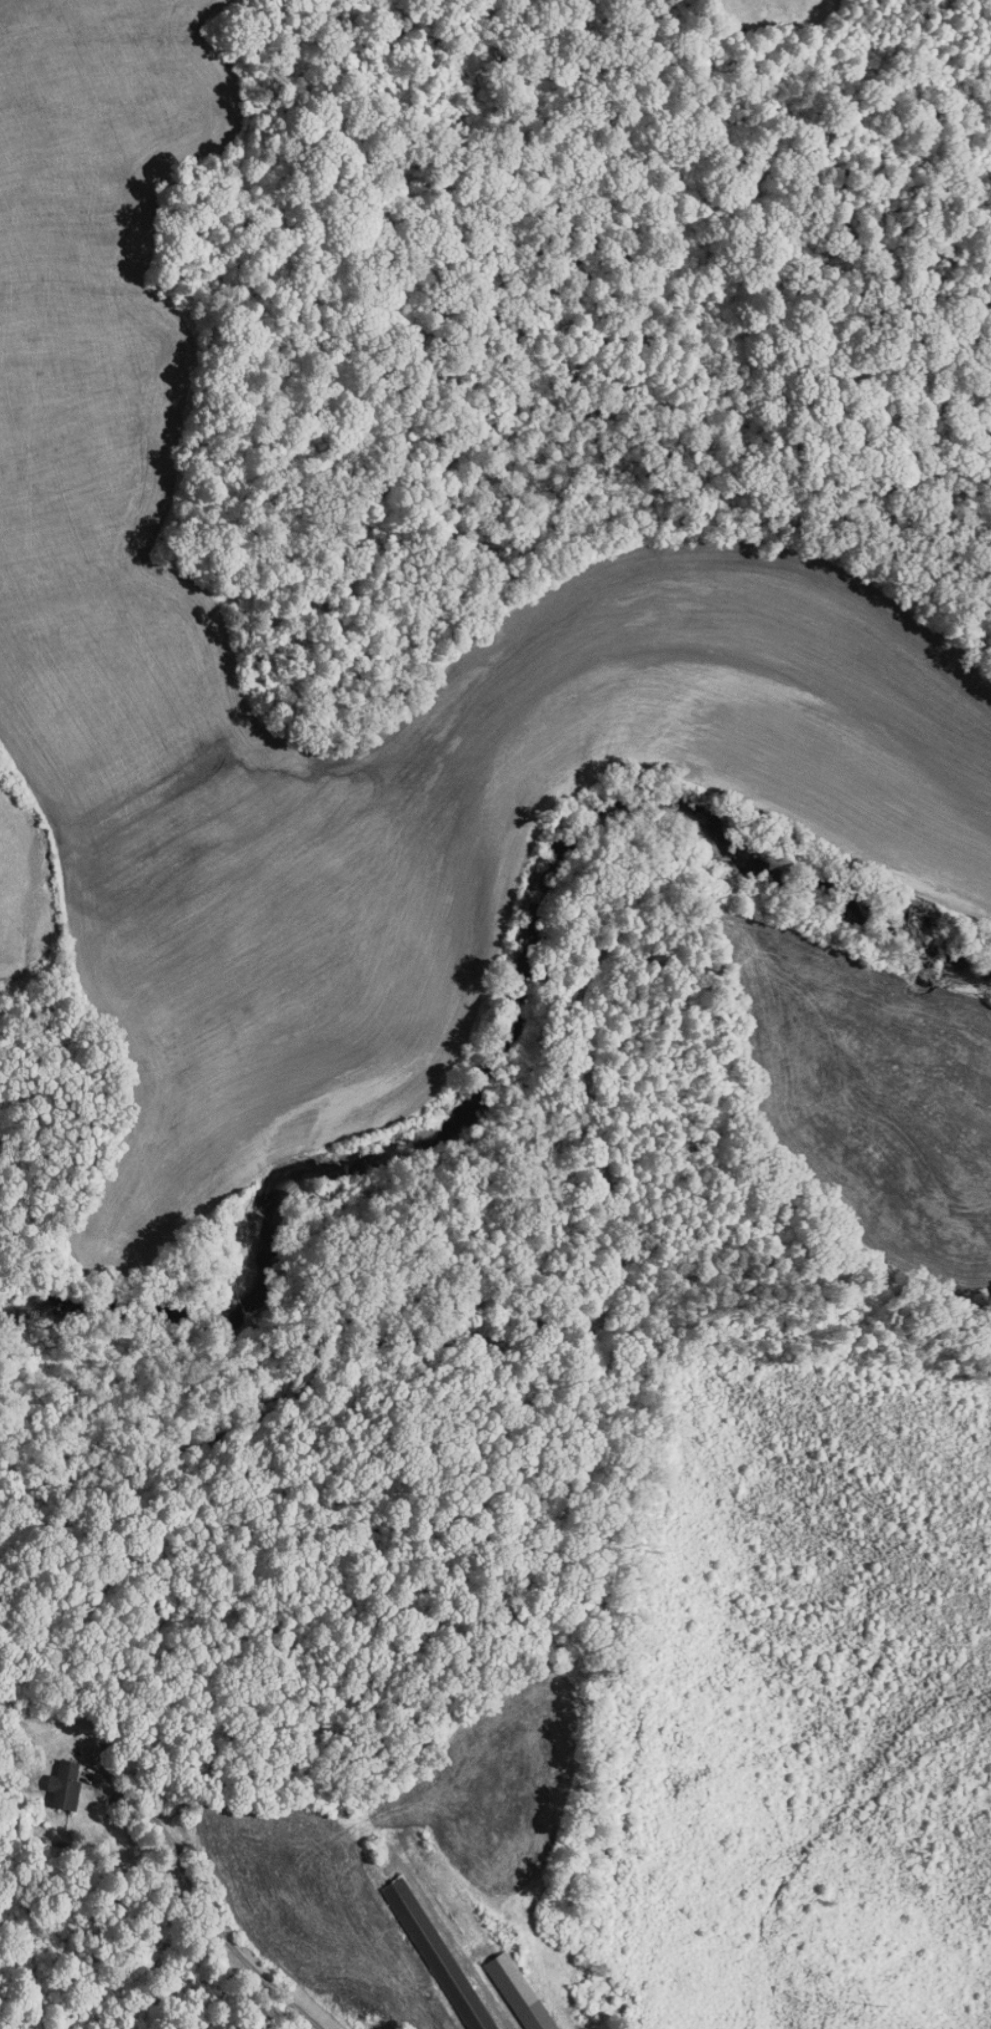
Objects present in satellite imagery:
building: (64, 1784)
road: (207, 1909)
building: (437, 1952)
building: (520, 1991)

